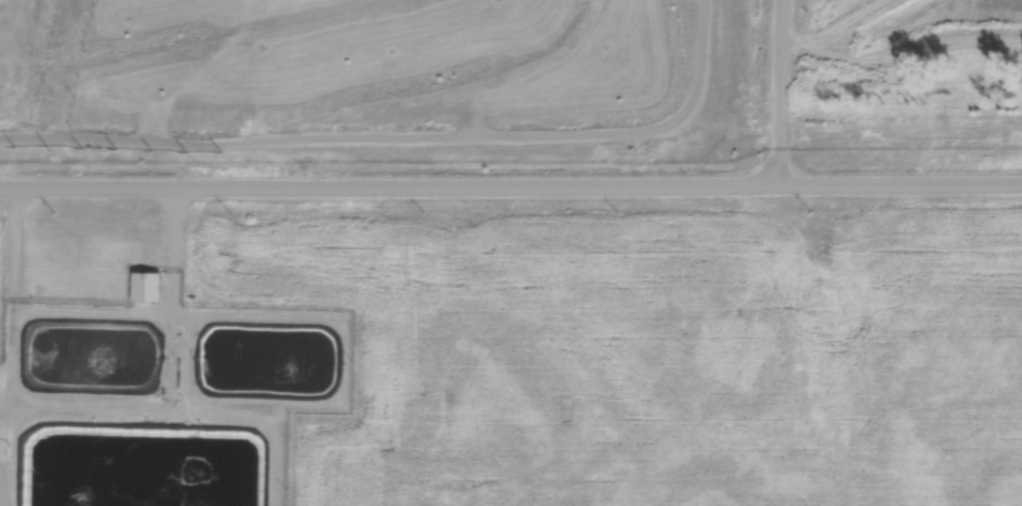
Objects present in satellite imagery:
crop: (834, 8)
landfill: (43, 48)
road: (783, 92)
road: (407, 144)
road: (511, 185)
road: (175, 249)
building: (146, 290)

